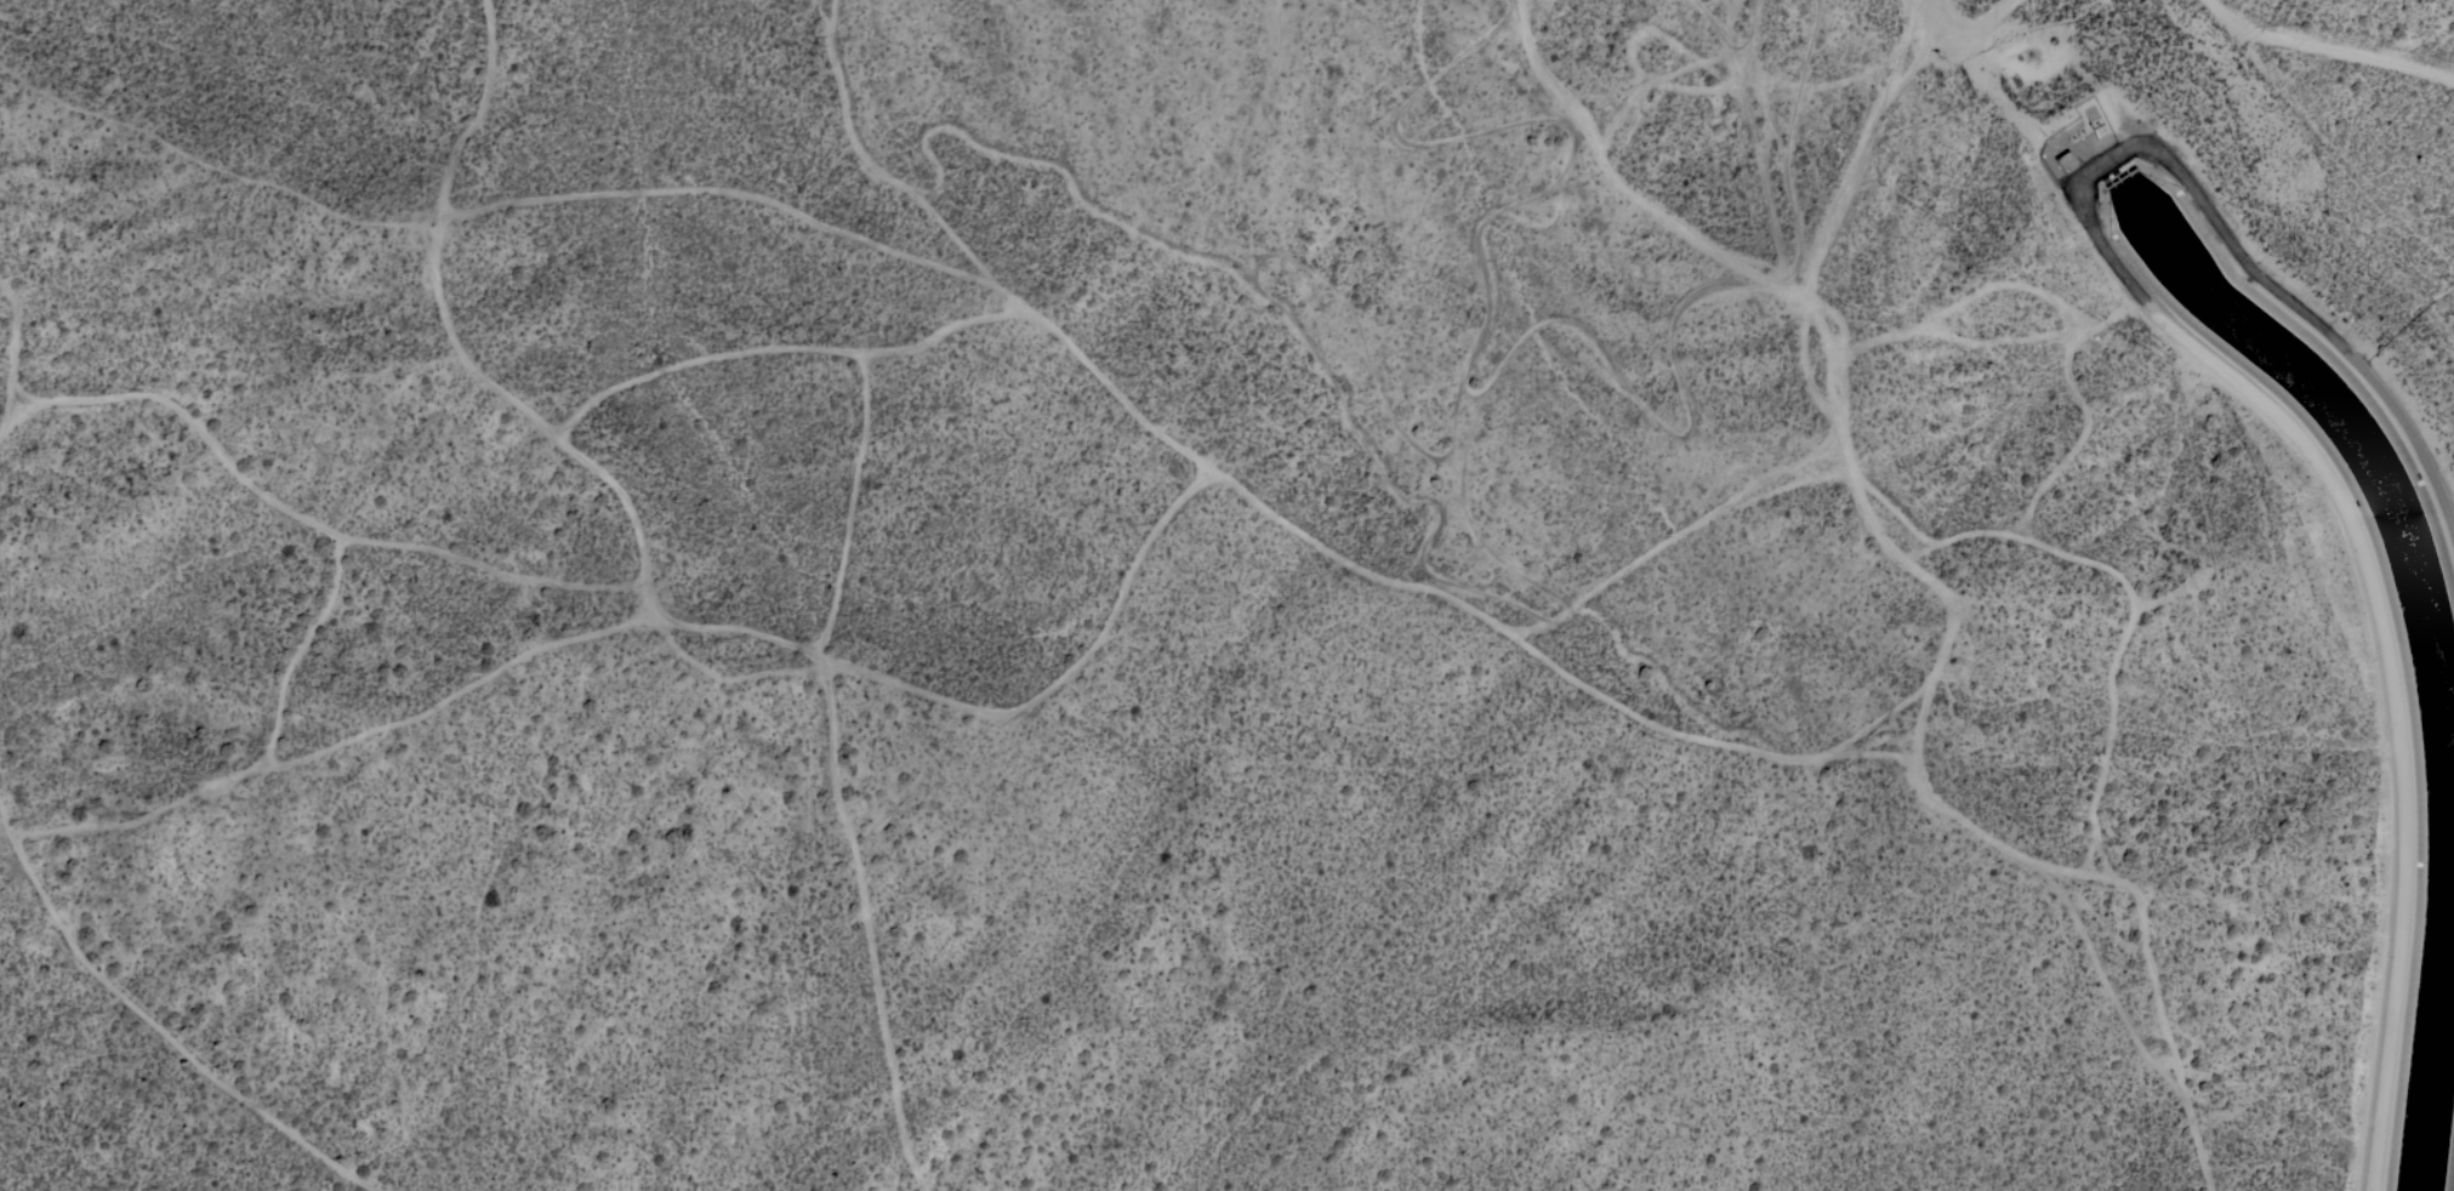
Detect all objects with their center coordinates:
road: (1968, 29)
road: (2325, 49)
building: (2094, 120)
building: (2066, 160)

